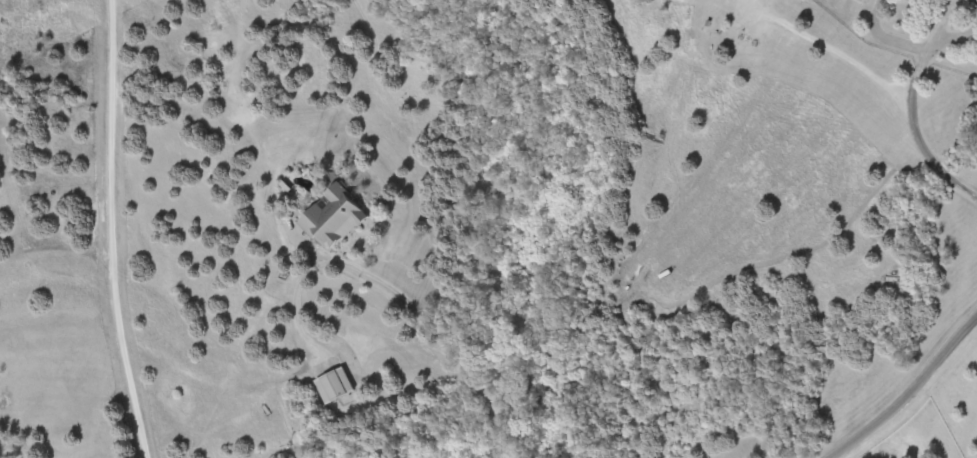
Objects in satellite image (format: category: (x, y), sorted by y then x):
building: (976, 0)
building: (938, 1)
road: (970, 188)
building: (337, 217)
building: (336, 385)
road: (904, 398)

